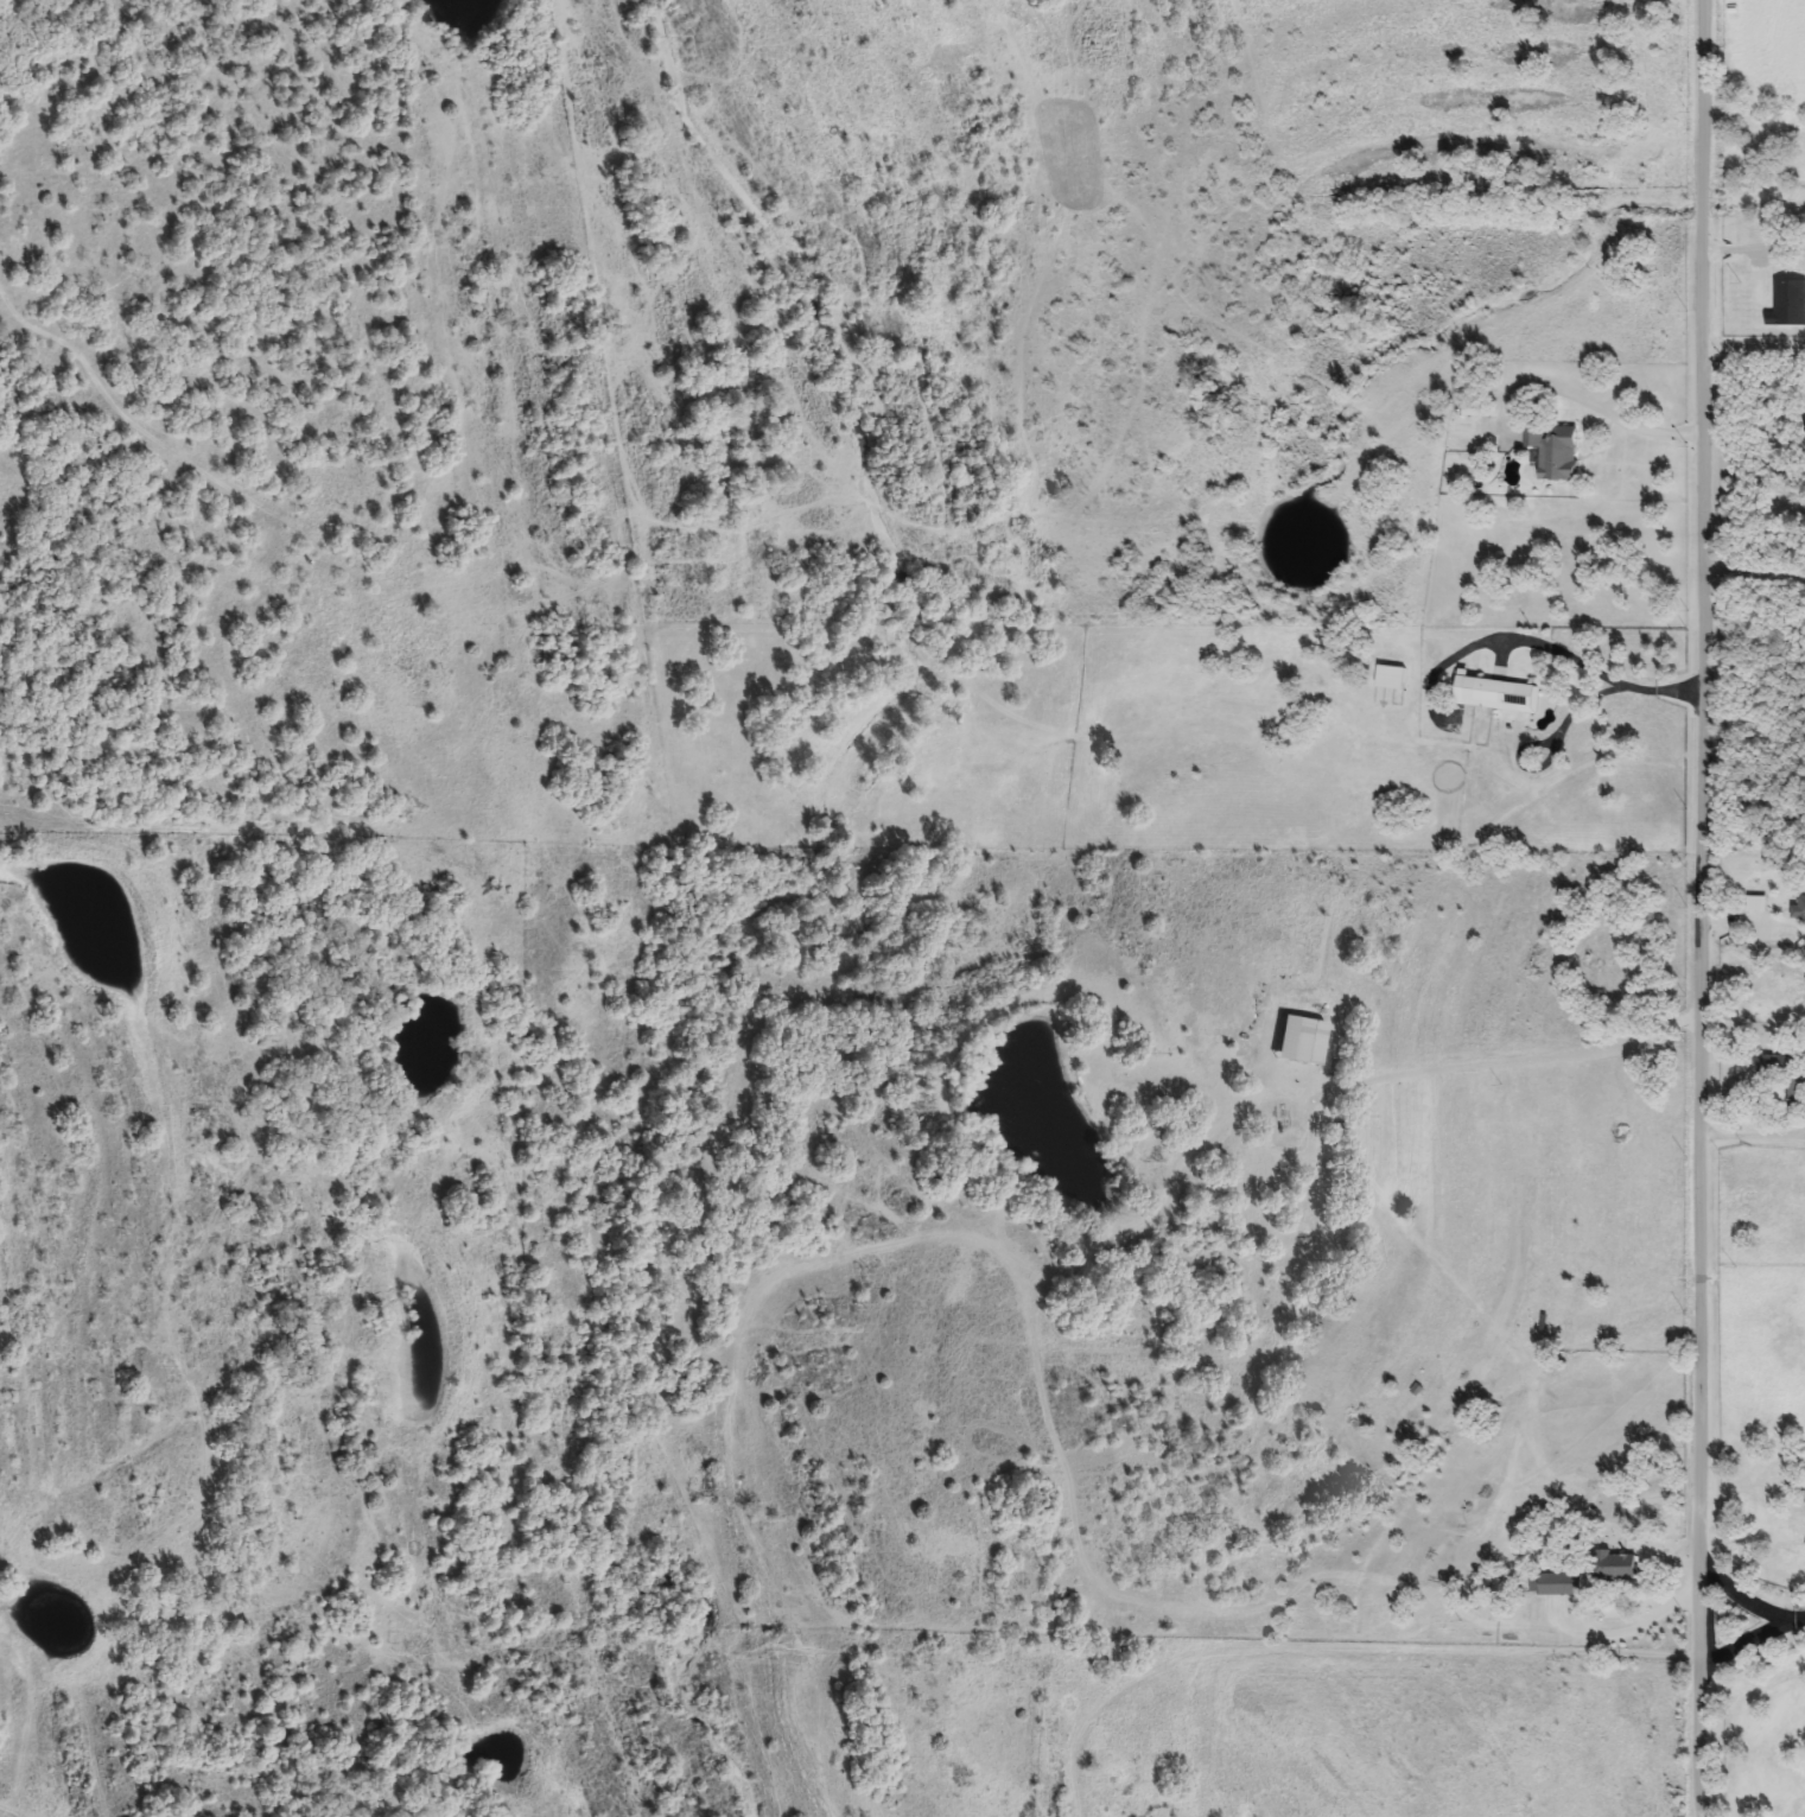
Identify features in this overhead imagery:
building: (1787, 310)
road: (1583, 398)
building: (1553, 456)
road: (1753, 568)
road: (1534, 640)
building: (1390, 678)
building: (1496, 695)
building: (1799, 907)
road: (1698, 908)
building: (1301, 1041)
road: (1534, 1053)
building: (1784, 1075)
road: (1752, 1133)
building: (1615, 1568)
building: (1555, 1584)
road: (1677, 1594)
road: (1744, 1639)
road: (1331, 1650)
building: (1095, 1662)

